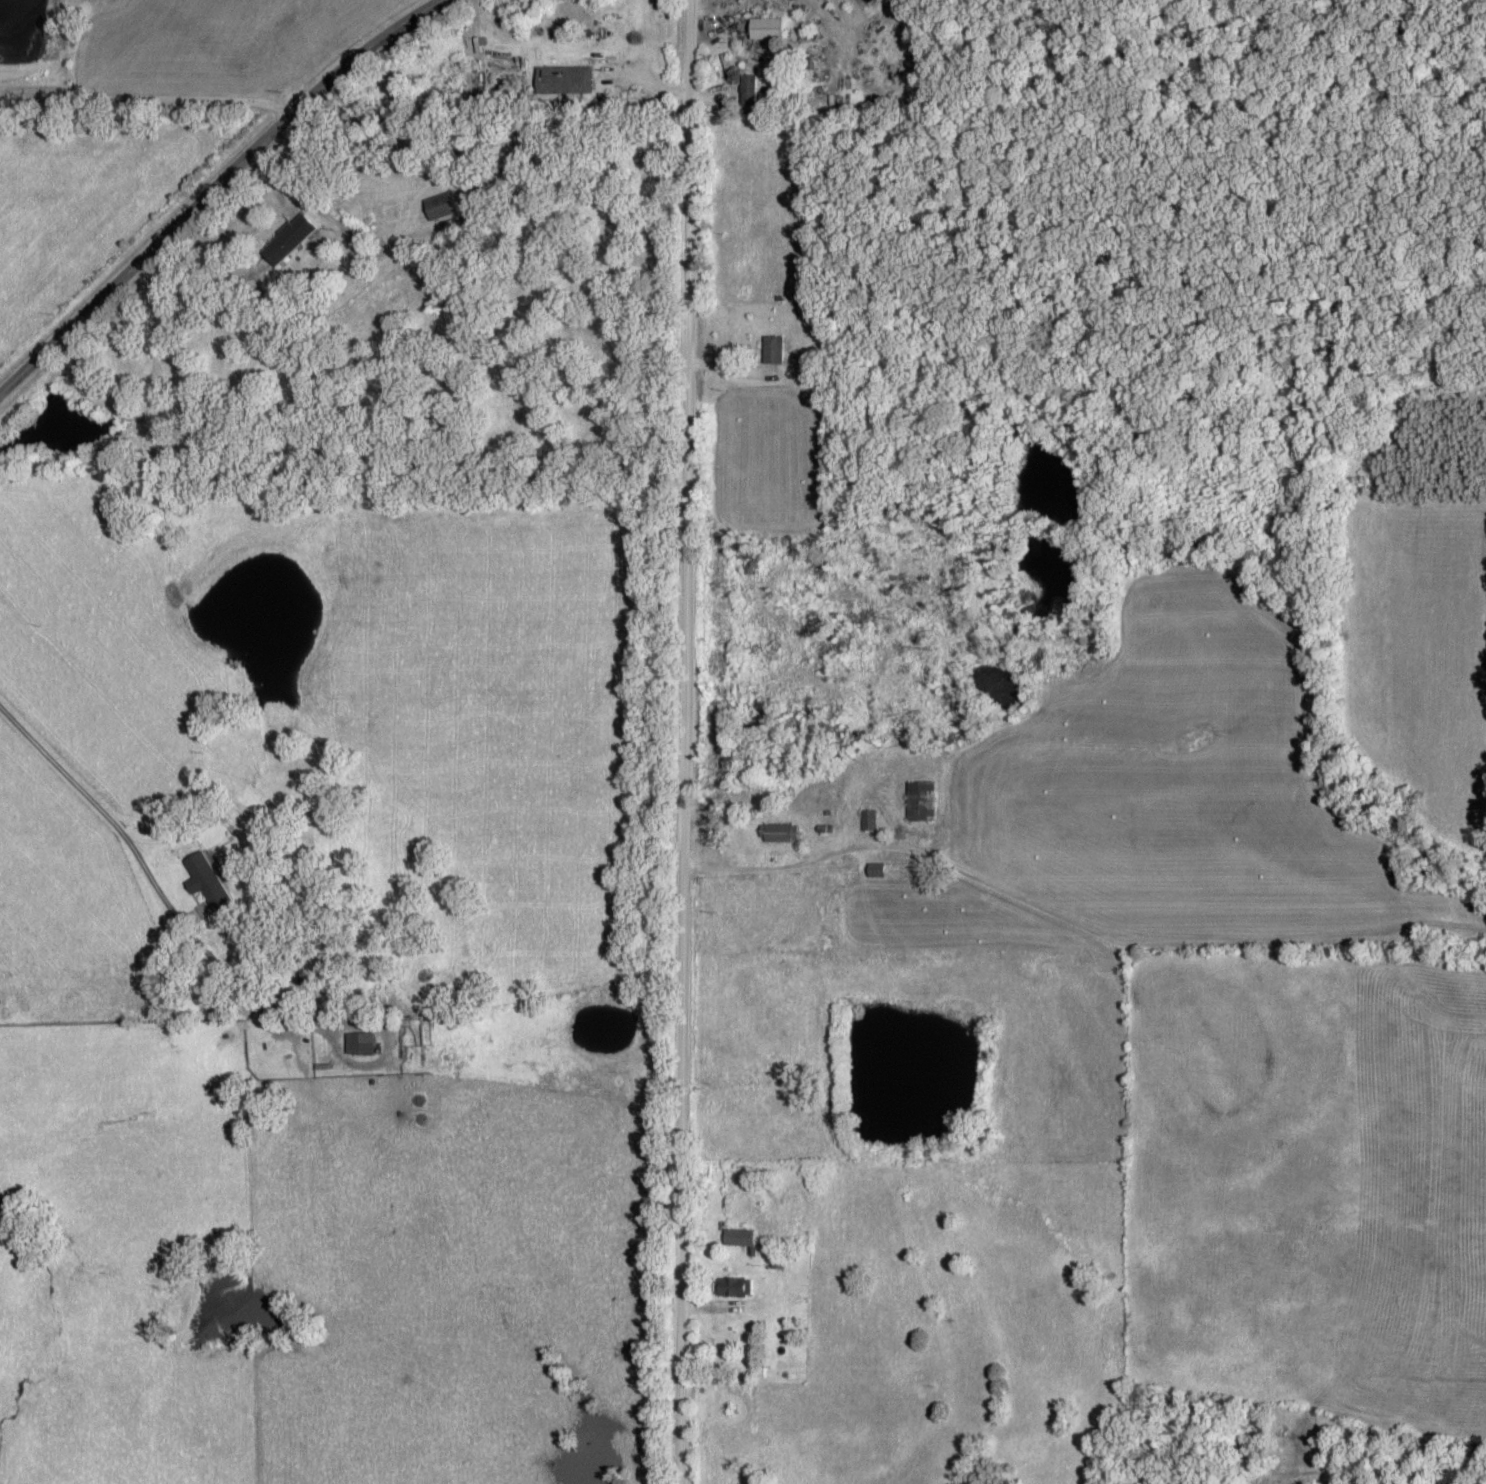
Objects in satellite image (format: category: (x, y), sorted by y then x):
building: (763, 29)
building: (544, 81)
building: (441, 88)
building: (745, 91)
road: (146, 101)
road: (211, 187)
building: (286, 239)
building: (770, 350)
road: (691, 742)
building: (920, 801)
building: (777, 833)
building: (204, 881)
road: (163, 904)
building: (422, 1032)
building: (357, 1043)
building: (736, 1237)
building: (730, 1286)

